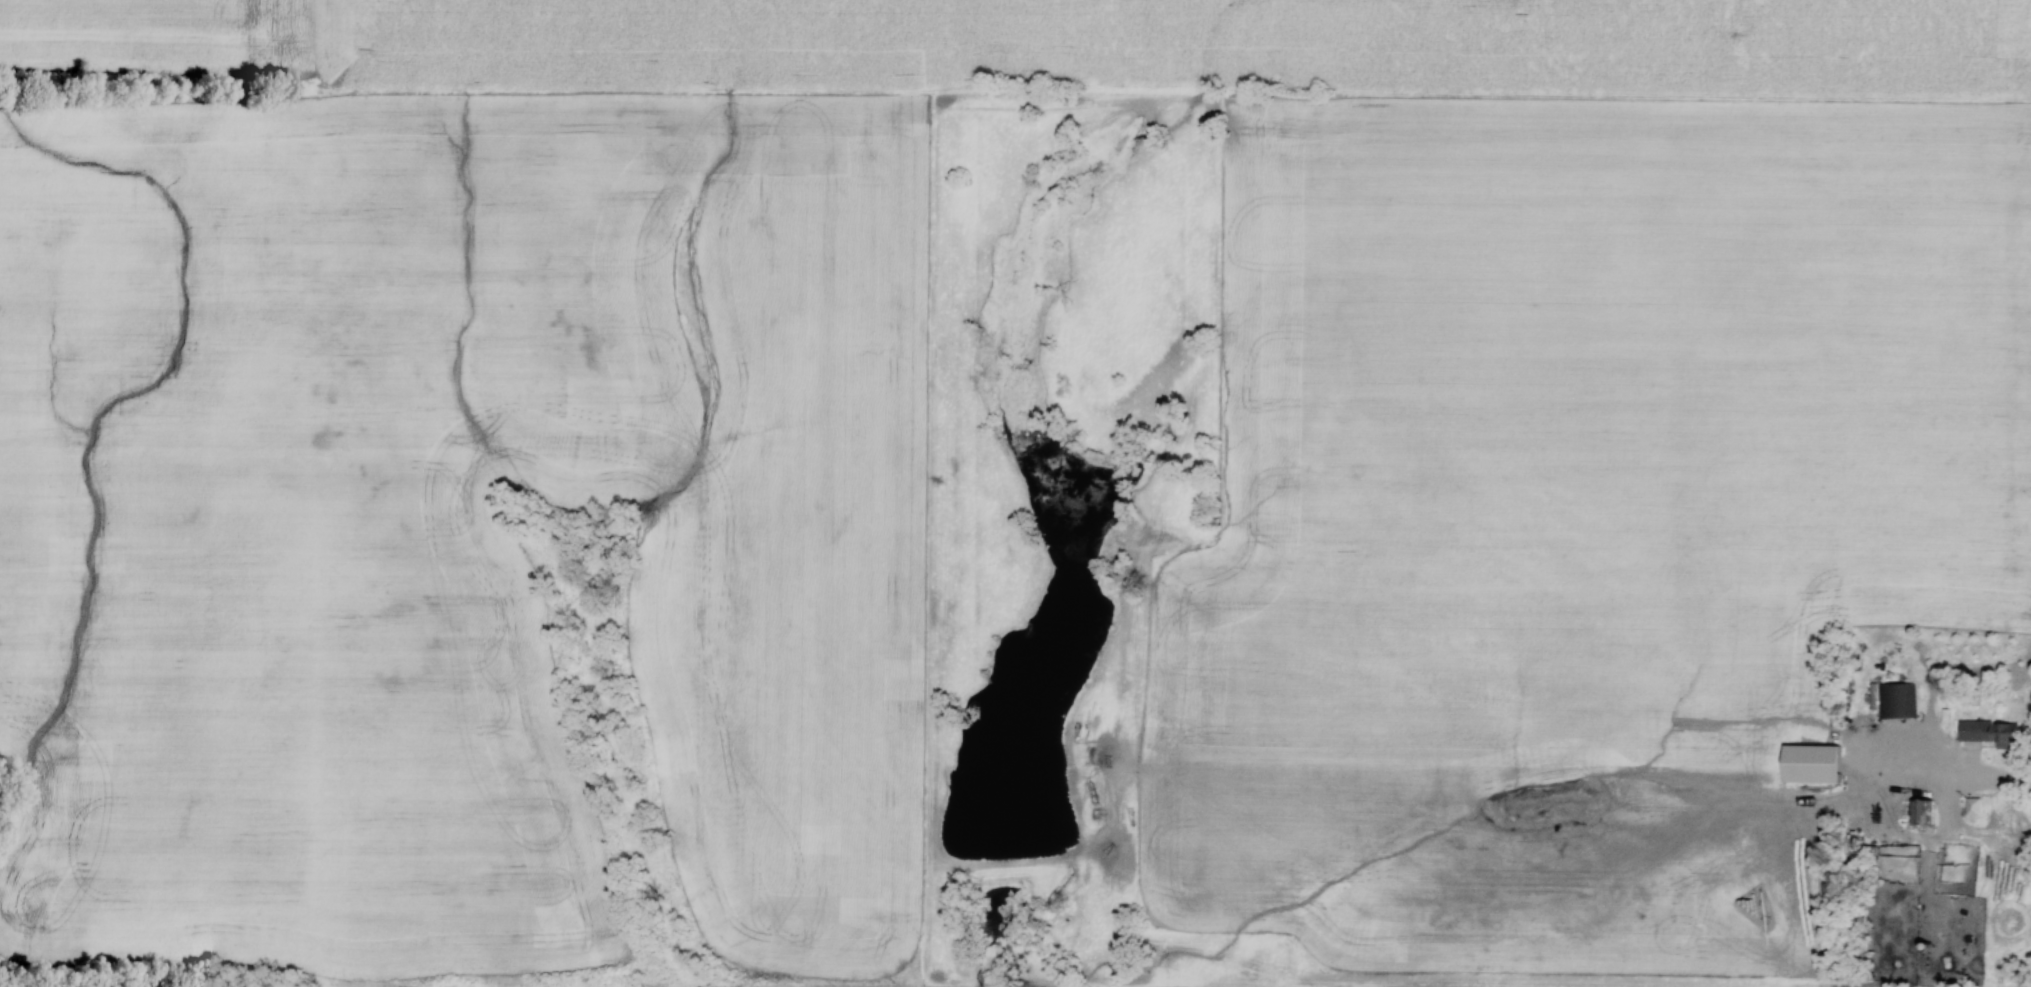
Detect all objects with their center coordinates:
building: (1897, 701)
building: (1992, 733)
building: (1815, 764)
road: (1999, 781)
road: (1874, 804)
building: (1975, 807)
building: (1918, 813)

